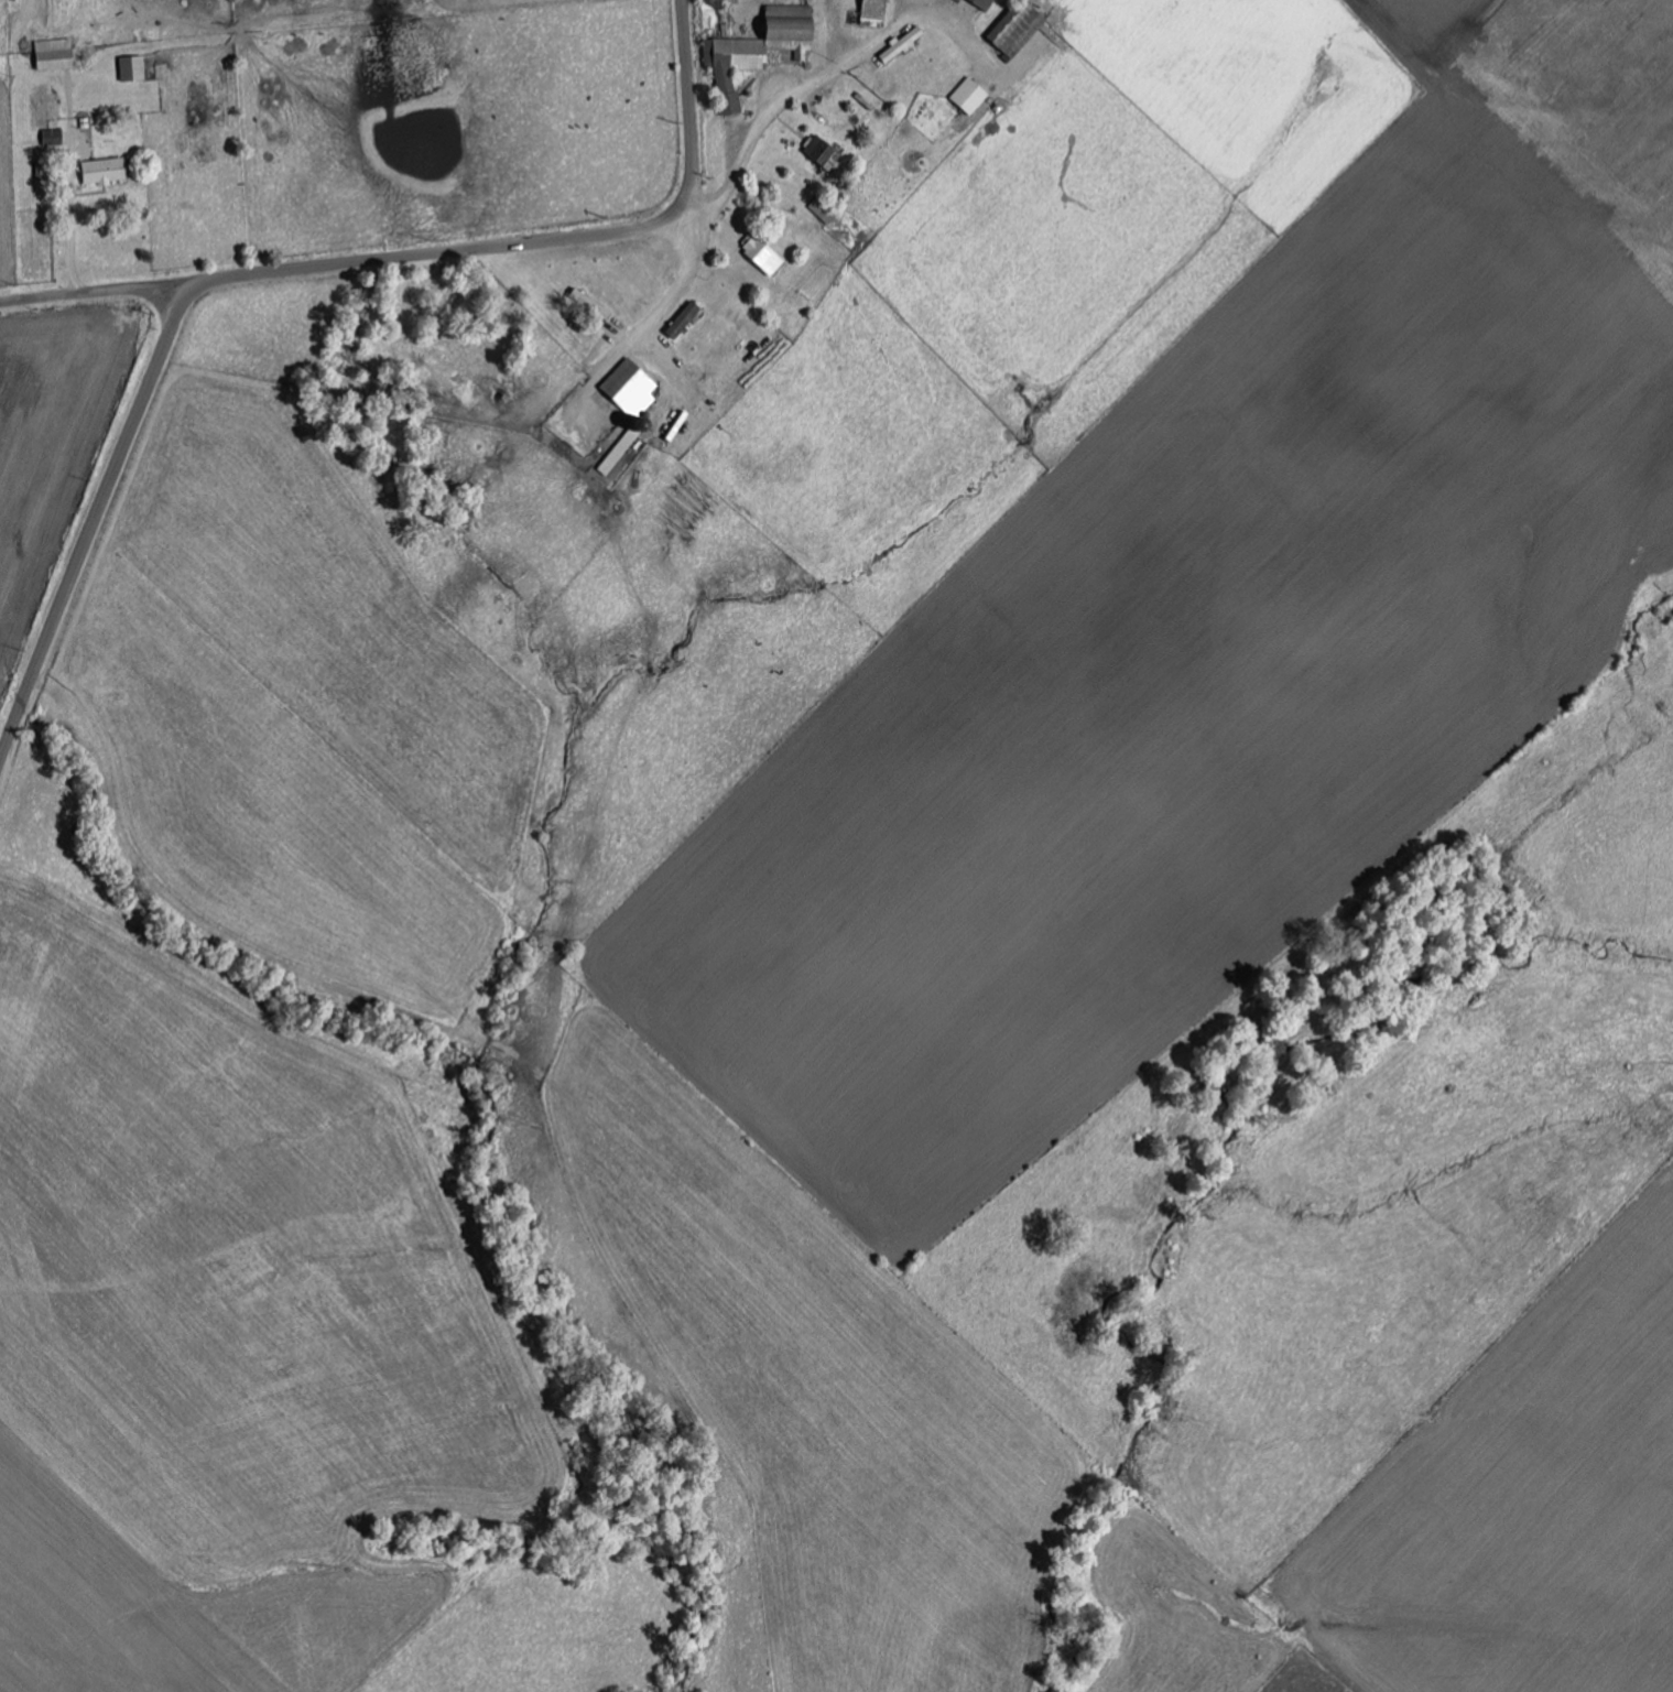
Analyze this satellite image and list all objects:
building: (989, 2)
building: (877, 12)
building: (1021, 30)
building: (904, 43)
building: (56, 53)
building: (757, 55)
building: (134, 68)
road: (840, 72)
building: (973, 95)
building: (54, 138)
building: (824, 150)
building: (107, 170)
road: (69, 225)
building: (765, 254)
road: (286, 271)
road: (97, 293)
road: (671, 304)
building: (686, 319)
building: (634, 388)

